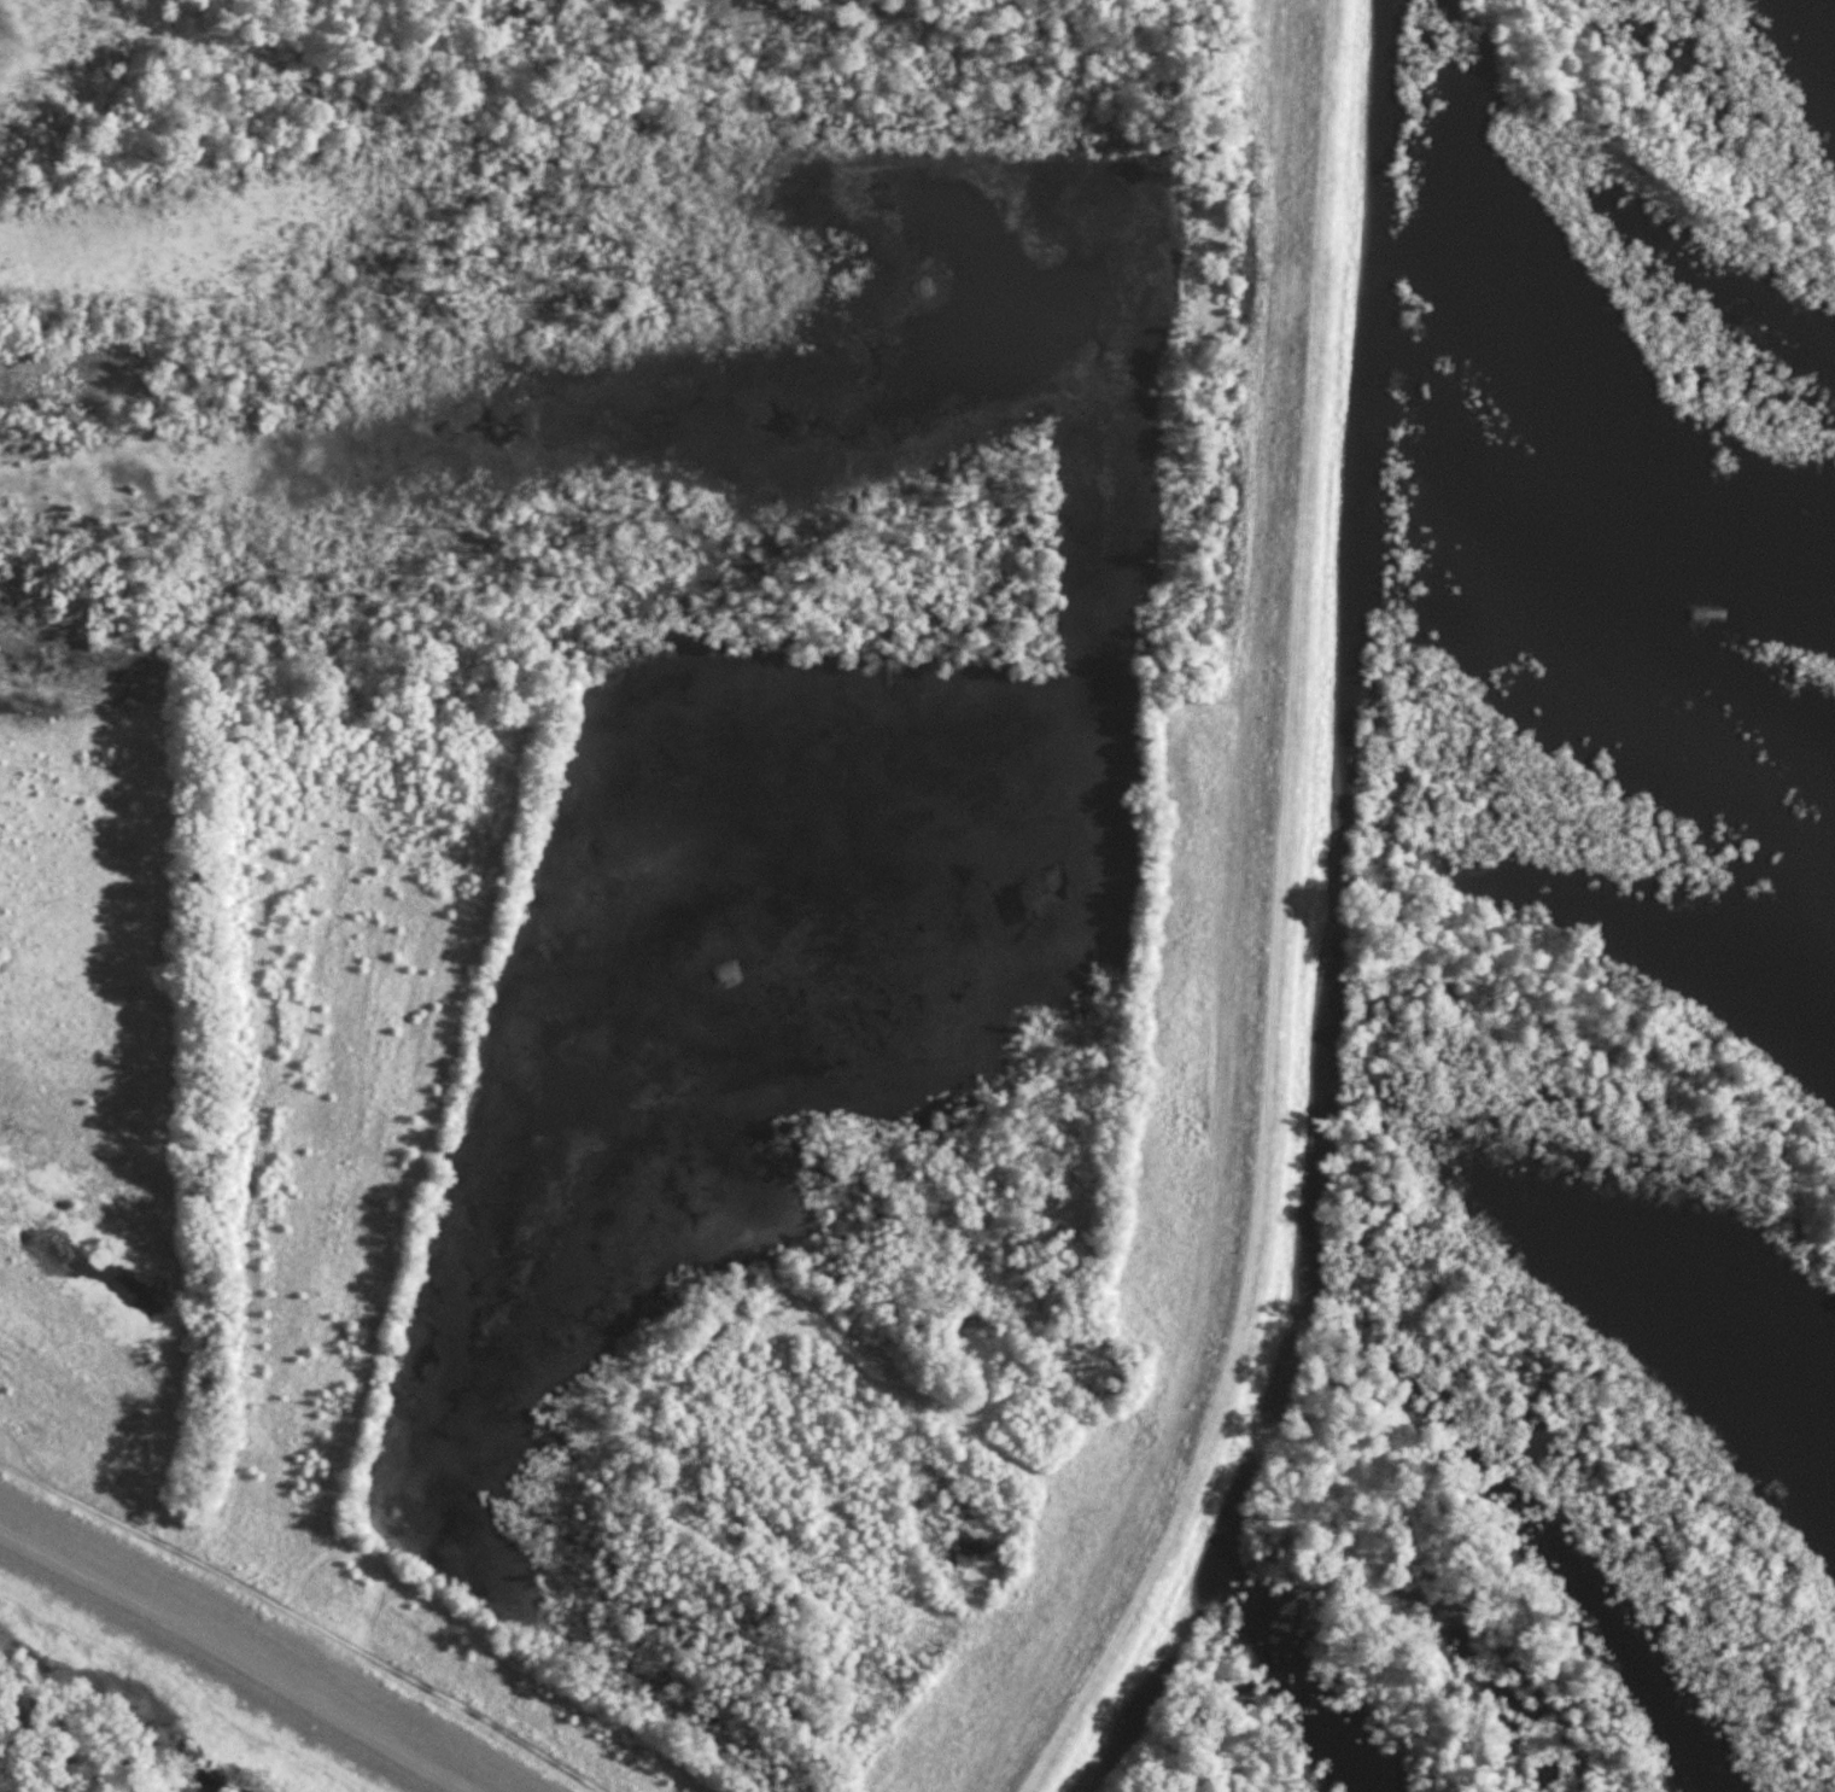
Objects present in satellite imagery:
road: (352, 1584)

